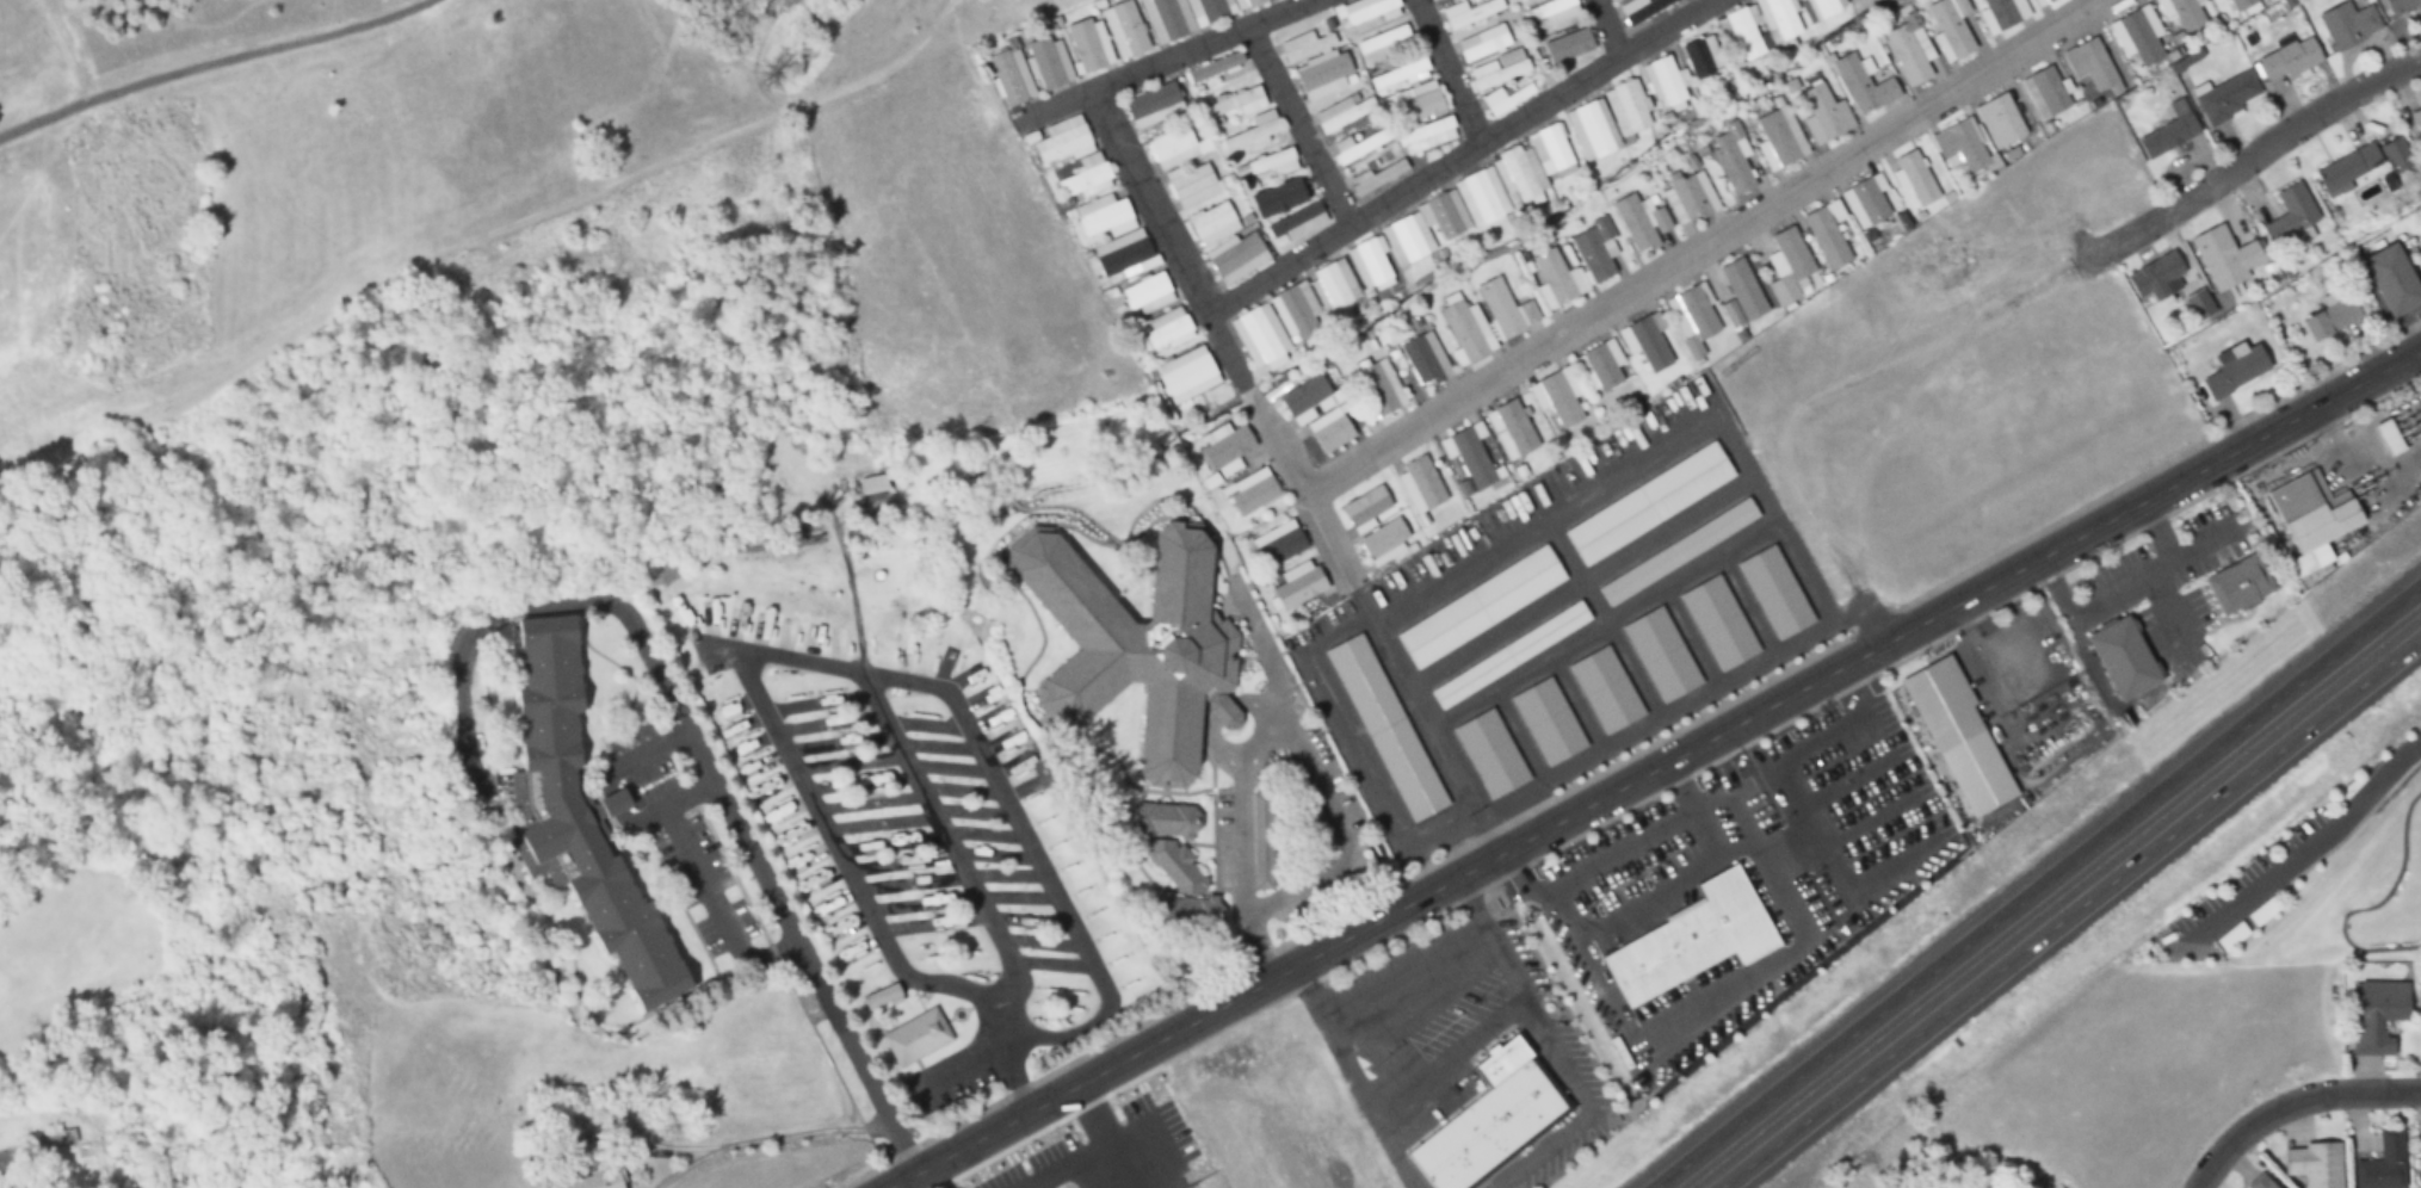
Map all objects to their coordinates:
building: (1434, 0)
building: (2042, 2)
building: (2402, 5)
building: (2243, 6)
building: (1821, 8)
building: (1642, 10)
building: (1365, 11)
building: (1469, 12)
building: (1550, 12)
building: (2182, 12)
building: (2002, 13)
building: (1188, 14)
building: (1779, 19)
building: (2348, 23)
building: (1951, 27)
road: (1605, 29)
building: (1124, 30)
building: (1741, 33)
building: (2135, 37)
building: (1383, 38)
building: (1483, 42)
building: (1088, 45)
building: (1569, 45)
road: (66, 50)
building: (1909, 50)
building: (1702, 56)
building: (2289, 56)
road: (215, 61)
building: (1046, 62)
road: (966, 63)
building: (1316, 63)
building: (2090, 63)
building: (1223, 67)
building: (1497, 68)
road: (1451, 69)
road: (1596, 69)
building: (1009, 76)
building: (1665, 83)
building: (1863, 83)
building: (2043, 93)
road: (1101, 94)
building: (1508, 95)
building: (2225, 95)
building: (1420, 100)
road: (1046, 103)
building: (1235, 103)
building: (1153, 105)
building: (1628, 107)
building: (1342, 113)
building: (1824, 115)
building: (2416, 118)
building: (1999, 120)
road: (1298, 128)
building: (1591, 129)
building: (2169, 130)
building: (1252, 132)
building: (1426, 134)
building: (1780, 136)
road: (2269, 140)
building: (1359, 146)
building: (1960, 146)
building: (1174, 147)
building: (2395, 154)
park: (368, 155)
building: (1088, 159)
building: (1733, 159)
building: (1268, 163)
building: (2348, 166)
building: (1378, 175)
building: (1914, 178)
building: (1193, 184)
building: (1284, 193)
building: (1480, 194)
building: (1688, 197)
building: (1866, 202)
building: (2290, 212)
building: (1641, 221)
building: (1211, 222)
building: (1296, 223)
road: (1347, 227)
building: (1827, 234)
building: (1112, 235)
road: (1700, 245)
building: (1593, 249)
building: (1236, 256)
building: (2227, 256)
building: (1370, 265)
building: (1787, 266)
building: (2155, 276)
building: (1555, 279)
building: (2392, 279)
building: (1332, 285)
building: (1147, 293)
building: (1741, 293)
building: (1295, 310)
building: (1505, 310)
building: (2332, 315)
building: (1692, 318)
building: (1166, 328)
building: (1464, 329)
building: (1259, 336)
building: (1645, 341)
road: (2419, 351)
building: (1423, 359)
building: (1600, 365)
building: (2234, 371)
building: (1186, 375)
building: (1379, 386)
building: (1557, 397)
building: (1317, 412)
building: (1509, 429)
building: (2388, 437)
road: (1278, 445)
road: (2359, 445)
building: (1224, 450)
building: (1468, 458)
building: (1419, 484)
building: (1249, 491)
building: (1648, 503)
building: (1364, 507)
building: (2309, 518)
building: (1383, 540)
building: (1278, 543)
building: (1678, 552)
building: (2237, 582)
building: (1298, 583)
road: (2118, 589)
building: (1775, 592)
building: (1480, 605)
road: (1866, 607)
building: (1719, 624)
building: (792, 626)
building: (817, 632)
building: (840, 638)
building: (1137, 642)
road: (1972, 649)
building: (1509, 654)
building: (1661, 655)
building: (2124, 657)
road: (1858, 680)
building: (1605, 689)
building: (987, 694)
building: (827, 699)
road: (1245, 704)
building: (1222, 710)
building: (1548, 720)
building: (840, 722)
building: (914, 724)
building: (1385, 726)
building: (1958, 734)
building: (847, 738)
building: (1490, 753)
road: (1629, 753)
building: (861, 760)
building: (1018, 761)
road: (1654, 767)
building: (953, 788)
building: (611, 802)
building: (882, 802)
road: (1797, 808)
building: (964, 809)
building: (579, 818)
building: (1162, 818)
road: (2308, 825)
building: (1261, 839)
building: (903, 841)
road: (745, 843)
building: (871, 846)
building: (986, 852)
road: (1616, 855)
building: (1173, 864)
building: (998, 874)
road: (2038, 887)
park: (2358, 890)
building: (1008, 895)
road: (718, 908)
building: (1186, 910)
road: (2069, 910)
building: (944, 918)
building: (1020, 918)
building: (908, 924)
building: (1692, 939)
building: (1043, 963)
park: (123, 965)
road: (1410, 979)
building: (884, 997)
building: (2420, 1009)
building: (1055, 1013)
building: (2376, 1014)
building: (919, 1034)
road: (1006, 1041)
road: (1023, 1094)
road: (2290, 1105)
building: (1490, 1120)
building: (61, 1137)
building: (2314, 1163)
building: (2382, 1163)
building: (2419, 1165)
building: (599, 1178)
building: (2258, 1182)

